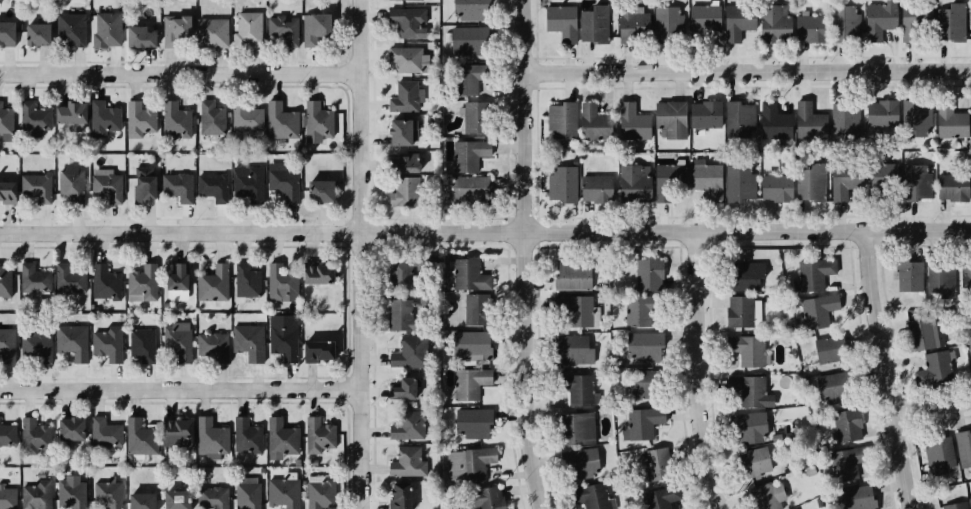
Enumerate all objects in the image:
building: (418, 0)
building: (467, 10)
building: (770, 16)
building: (702, 19)
building: (558, 20)
building: (736, 20)
building: (880, 20)
building: (404, 21)
building: (950, 22)
building: (916, 23)
building: (592, 24)
building: (662, 24)
building: (845, 24)
building: (631, 25)
building: (809, 26)
building: (311, 27)
building: (970, 27)
building: (106, 28)
building: (281, 28)
building: (246, 29)
building: (67, 30)
building: (209, 31)
building: (173, 32)
building: (5, 33)
building: (32, 34)
building: (135, 36)
building: (468, 41)
building: (403, 59)
road: (750, 69)
road: (181, 74)
building: (467, 80)
building: (405, 96)
building: (68, 112)
building: (703, 112)
building: (912, 114)
building: (970, 115)
building: (31, 116)
building: (474, 116)
building: (738, 116)
building: (806, 116)
building: (5, 117)
building: (209, 117)
building: (244, 117)
building: (669, 117)
building: (843, 117)
building: (876, 117)
building: (103, 118)
building: (140, 118)
building: (558, 119)
building: (279, 120)
building: (590, 120)
building: (630, 120)
building: (175, 121)
building: (772, 121)
building: (947, 121)
building: (314, 122)
building: (399, 131)
building: (461, 156)
building: (399, 165)
building: (970, 176)
building: (881, 179)
building: (283, 180)
building: (669, 181)
building: (915, 181)
building: (244, 182)
building: (738, 182)
building: (70, 183)
building: (141, 183)
building: (811, 183)
building: (211, 184)
building: (560, 184)
building: (632, 184)
building: (703, 184)
building: (175, 185)
building: (106, 186)
building: (844, 186)
building: (951, 186)
building: (35, 187)
building: (773, 187)
building: (459, 188)
building: (6, 191)
building: (315, 191)
building: (400, 191)
building: (595, 191)
road: (485, 233)
road: (364, 254)
road: (528, 255)
building: (393, 269)
building: (315, 271)
building: (648, 272)
building: (463, 273)
building: (570, 273)
building: (67, 274)
building: (172, 274)
building: (743, 275)
building: (812, 275)
building: (908, 276)
building: (31, 277)
building: (244, 278)
building: (282, 279)
building: (942, 279)
building: (7, 281)
building: (103, 281)
building: (138, 282)
building: (967, 282)
building: (211, 283)
building: (471, 309)
building: (738, 310)
building: (638, 311)
building: (572, 312)
building: (815, 312)
building: (398, 315)
building: (920, 332)
building: (280, 338)
building: (71, 341)
building: (969, 341)
building: (103, 342)
building: (141, 343)
building: (177, 343)
building: (247, 343)
building: (466, 343)
building: (7, 345)
building: (33, 345)
building: (210, 347)
building: (314, 349)
building: (641, 349)
building: (746, 349)
building: (574, 350)
building: (822, 350)
building: (405, 353)
building: (933, 366)
road: (891, 370)
road: (703, 372)
building: (467, 382)
building: (636, 387)
building: (828, 388)
building: (398, 389)
building: (572, 389)
road: (182, 391)
building: (747, 392)
road: (935, 406)
building: (469, 423)
building: (638, 424)
building: (66, 427)
building: (406, 427)
building: (748, 428)
building: (577, 429)
building: (839, 429)
building: (99, 431)
building: (171, 432)
building: (7, 433)
building: (133, 434)
building: (245, 434)
building: (317, 434)
building: (209, 435)
building: (30, 436)
building: (281, 437)
building: (962, 449)
building: (936, 453)
building: (402, 462)
building: (751, 462)
building: (582, 463)
building: (648, 464)
building: (465, 465)
building: (841, 467)
building: (281, 492)
building: (70, 493)
building: (244, 493)
building: (105, 494)
building: (36, 495)
building: (316, 495)
building: (765, 495)
building: (137, 496)
building: (396, 496)
building: (588, 496)
building: (7, 497)
building: (173, 497)
building: (210, 497)
building: (657, 497)
building: (851, 497)
building: (970, 499)
building: (478, 502)
building: (954, 506)
building: (793, 508)

